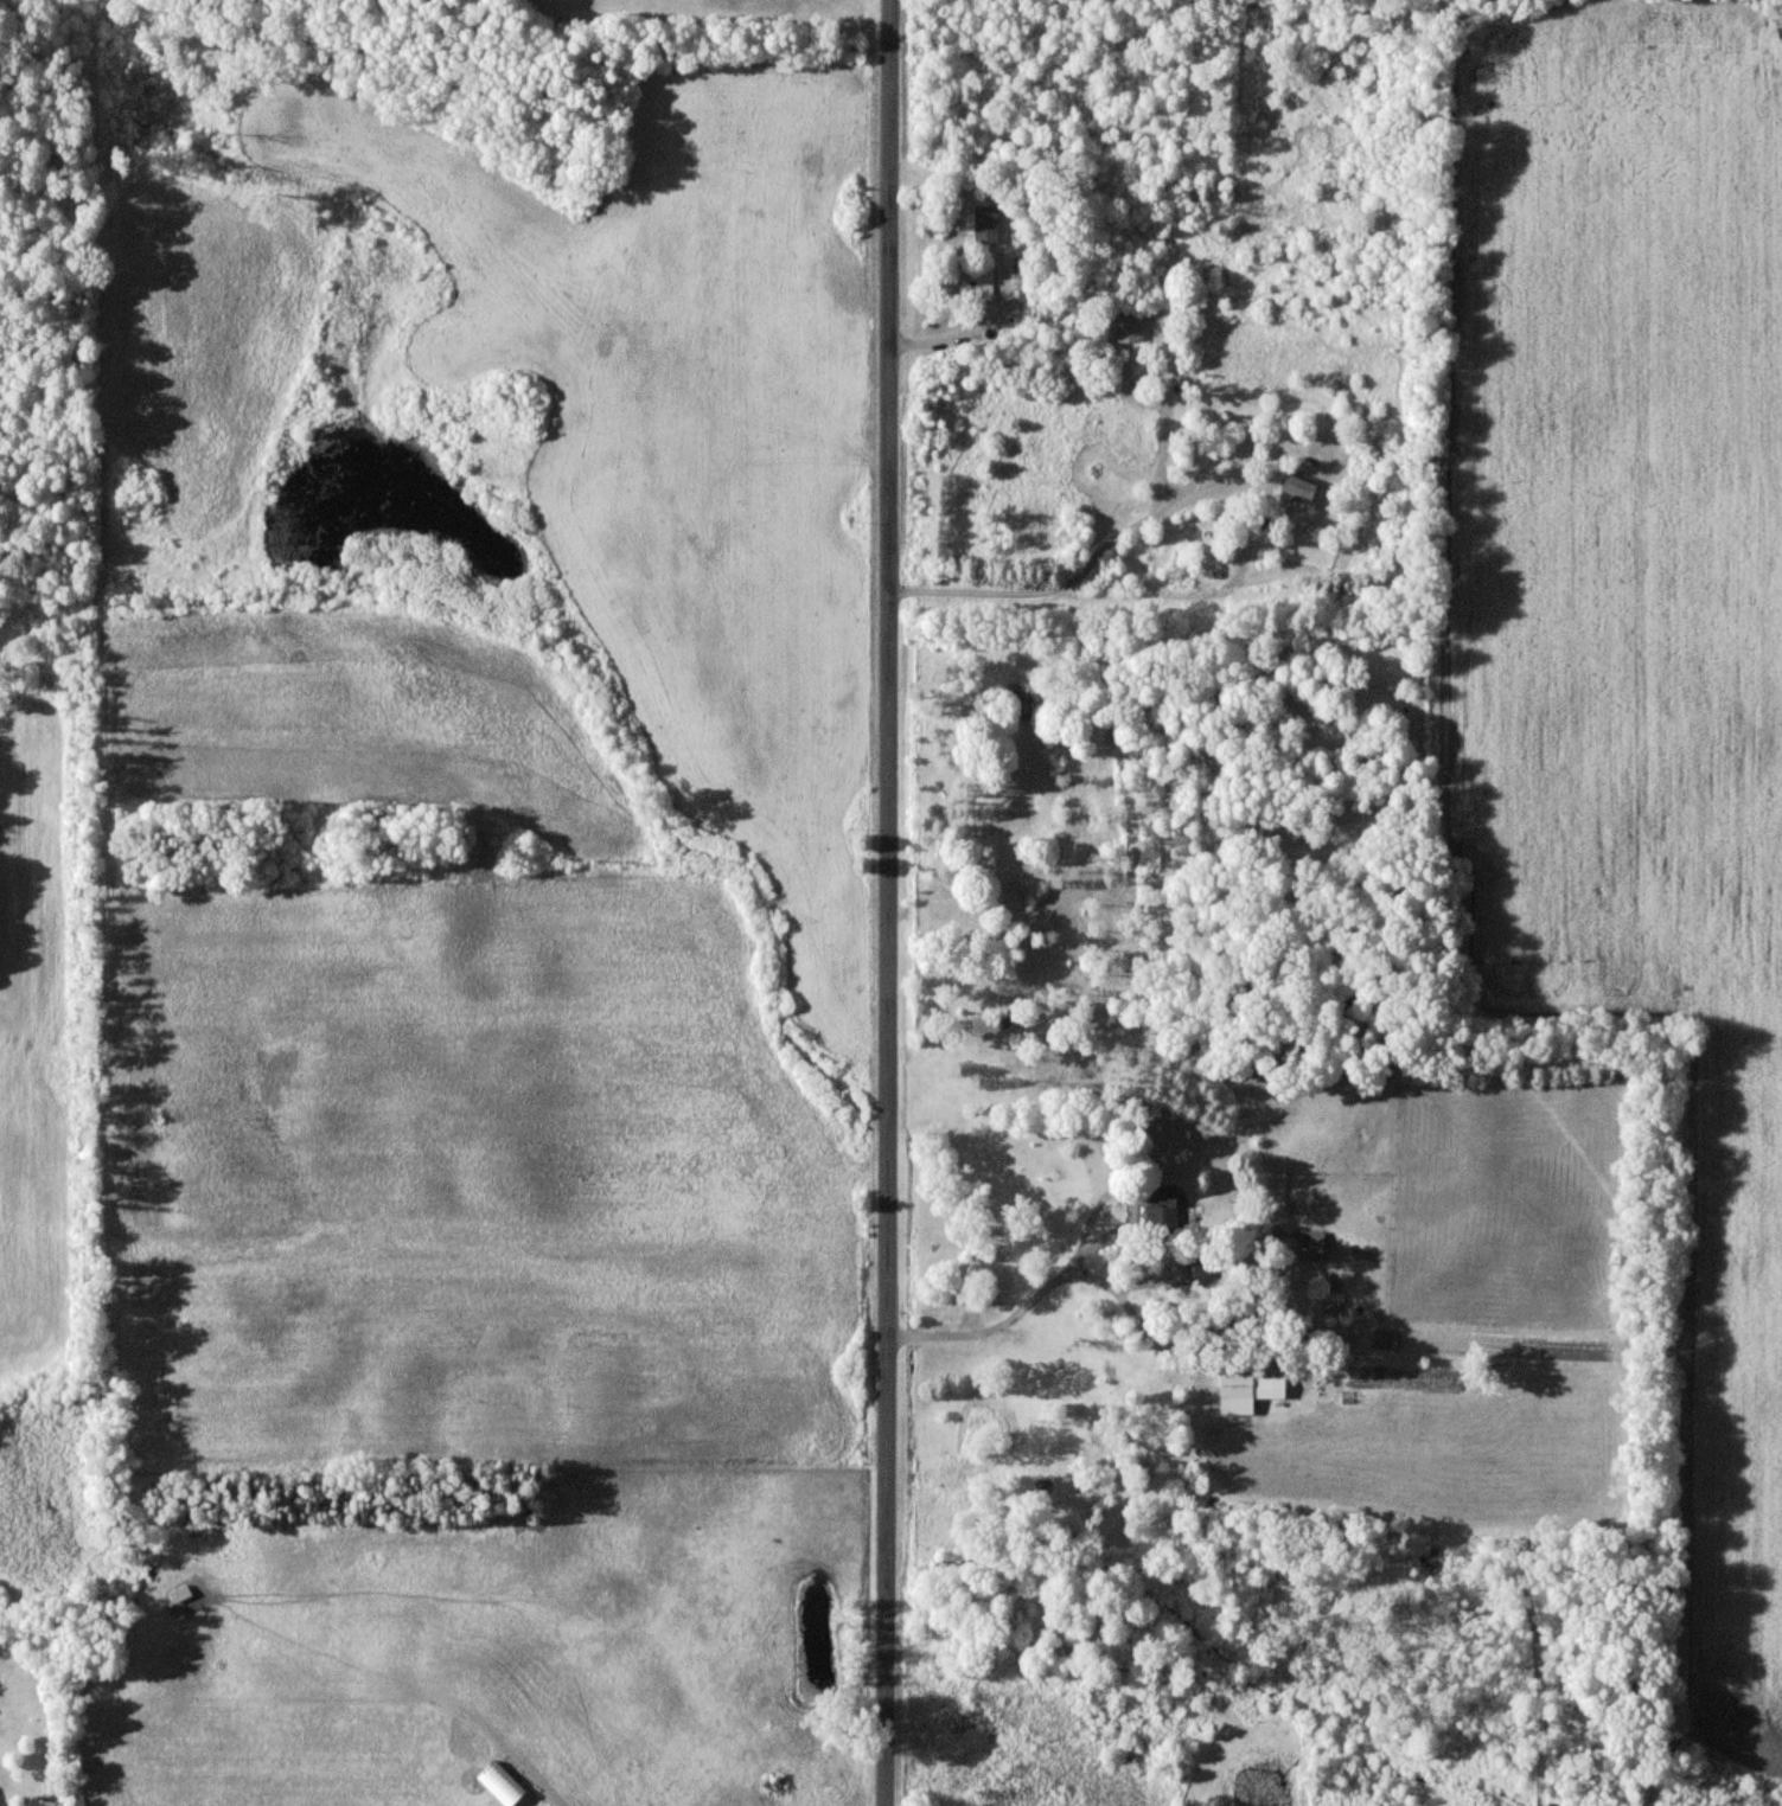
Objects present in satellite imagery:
building: (988, 224)
building: (1136, 326)
building: (1304, 488)
road: (1098, 566)
park: (1170, 814)
road: (887, 903)
building: (1165, 1210)
building: (1315, 1245)
building: (1199, 1270)
road: (1007, 1324)
building: (1251, 1392)
building: (504, 1785)
building: (43, 1802)

